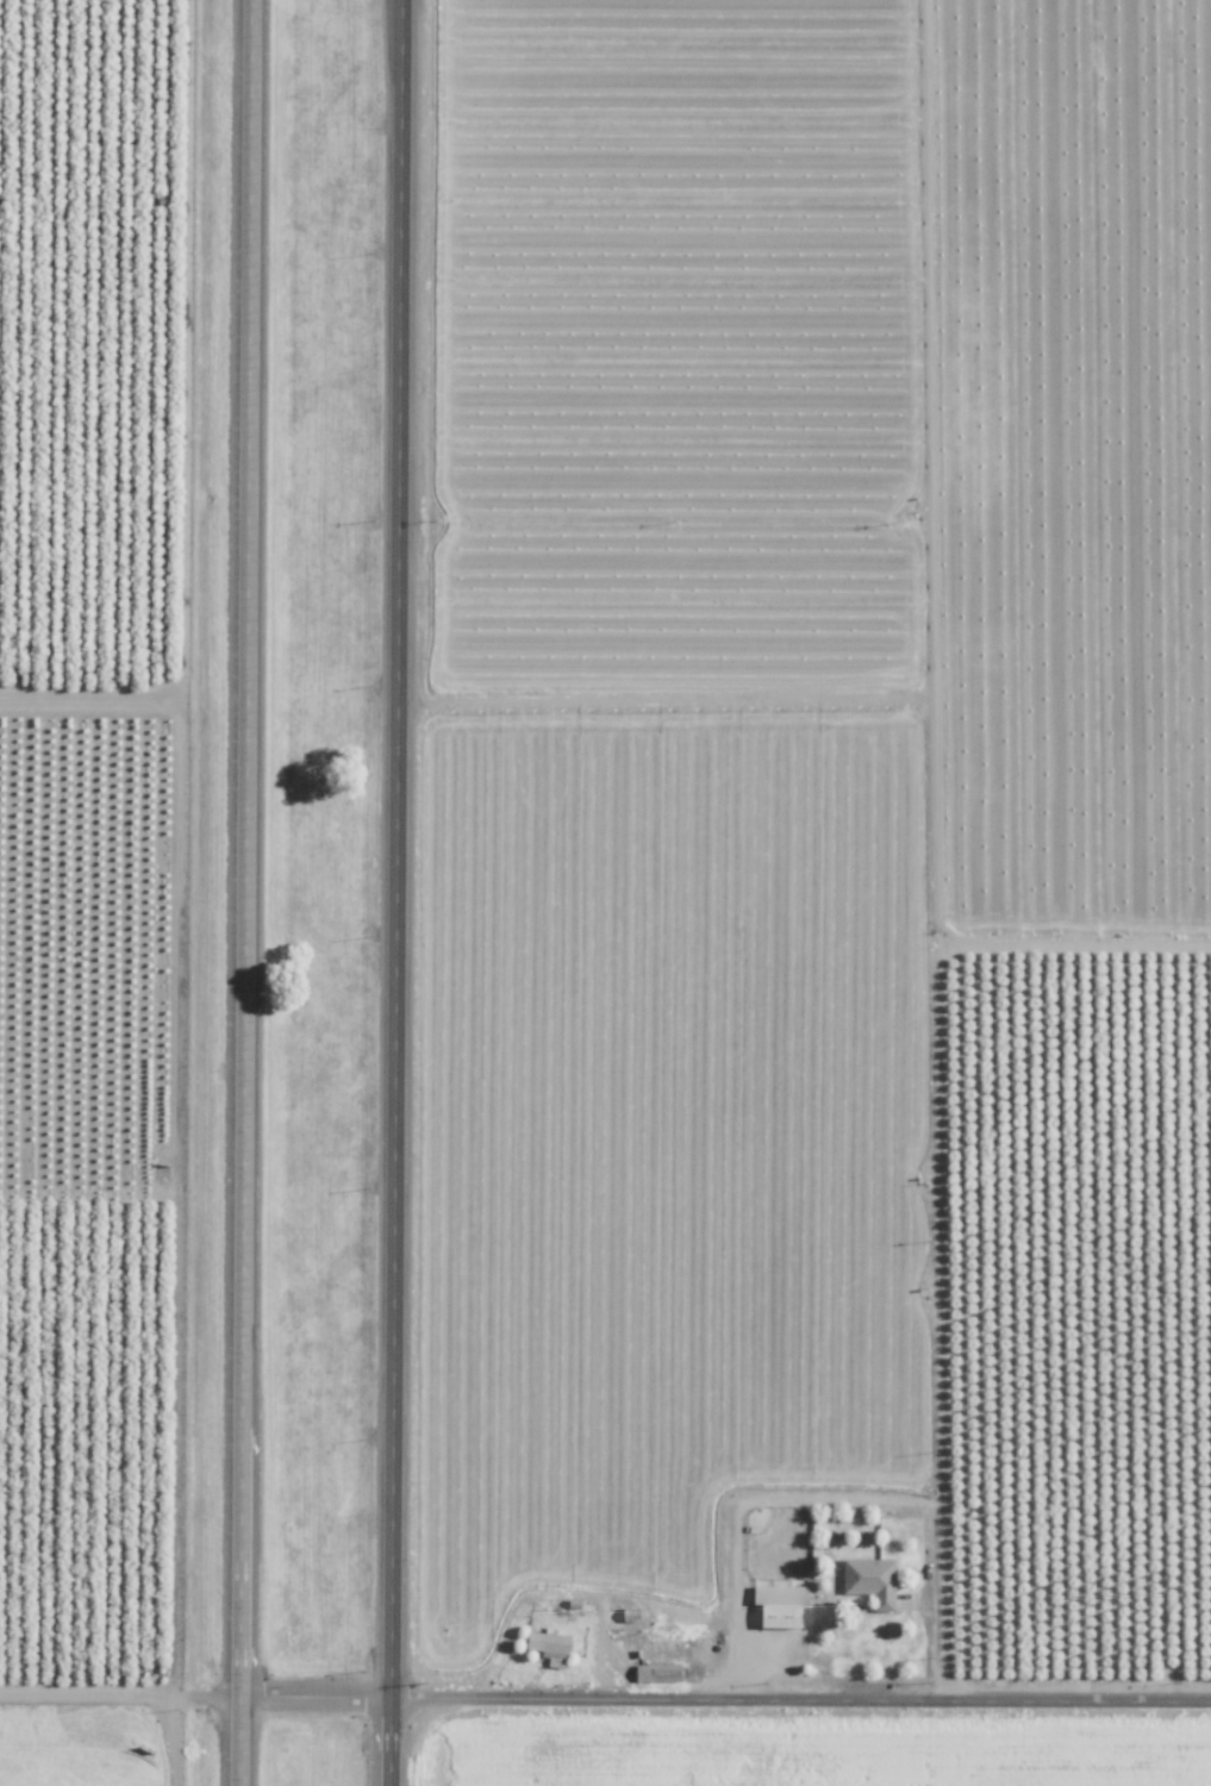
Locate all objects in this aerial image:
road: (397, 892)
road: (256, 893)
crop: (824, 899)
crop: (92, 943)
road: (873, 1507)
building: (873, 1579)
building: (784, 1603)
road: (613, 1605)
building: (550, 1641)
road: (930, 1647)
building: (660, 1672)
road: (5, 1691)
road: (610, 1704)
crop: (88, 1738)
road: (171, 1743)

